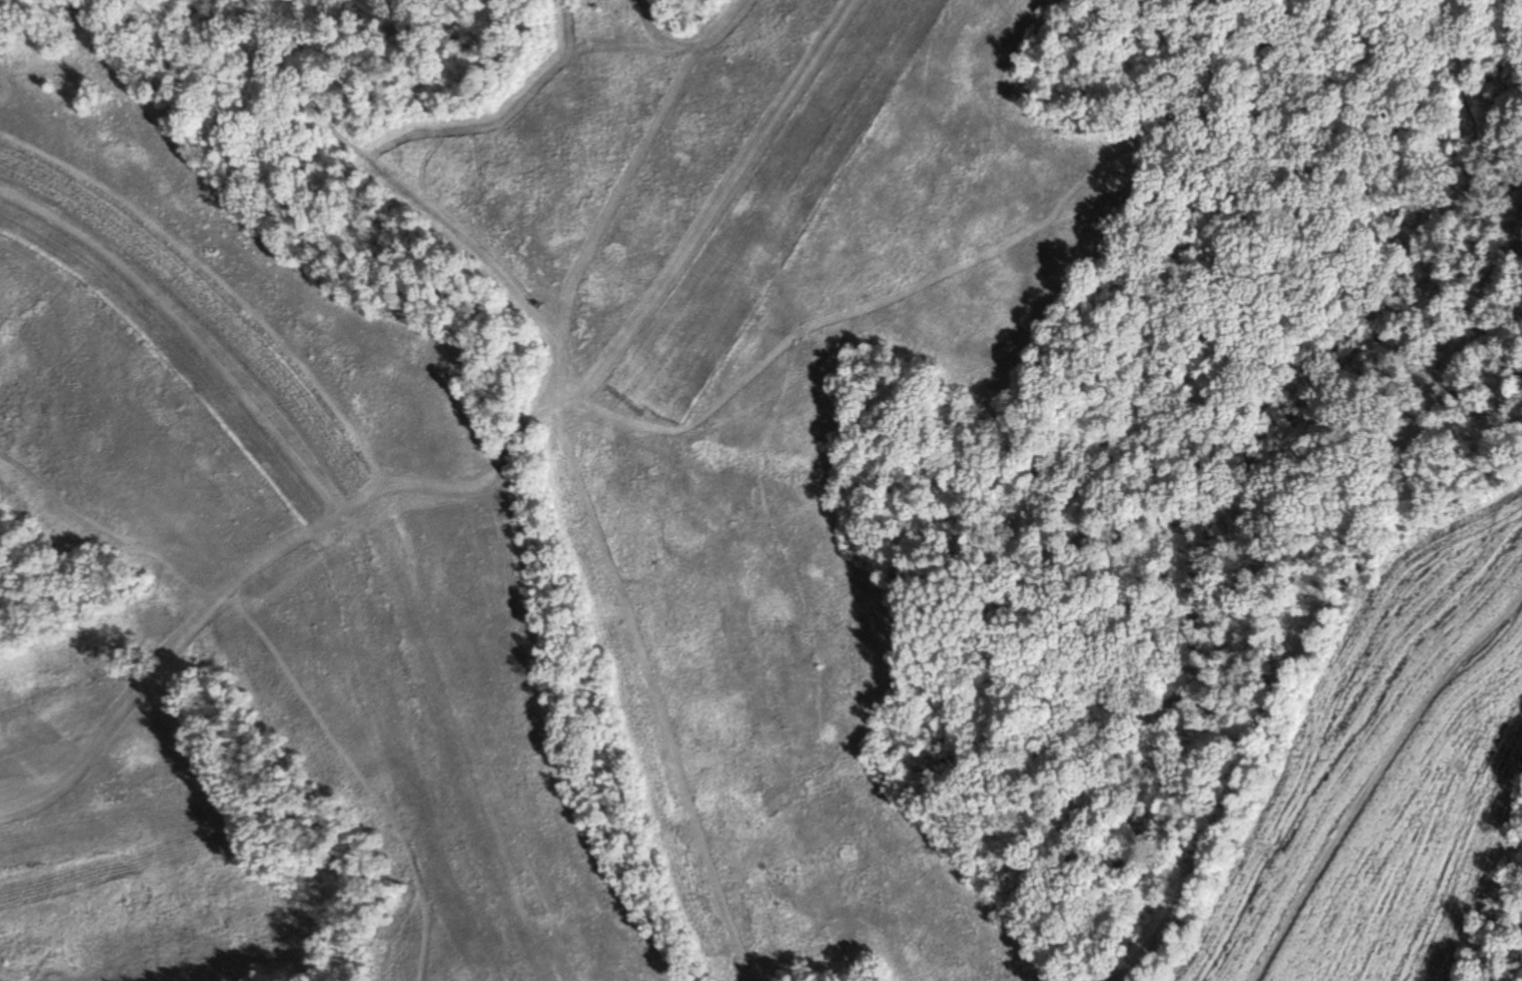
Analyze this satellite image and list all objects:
road: (1337, 650)

